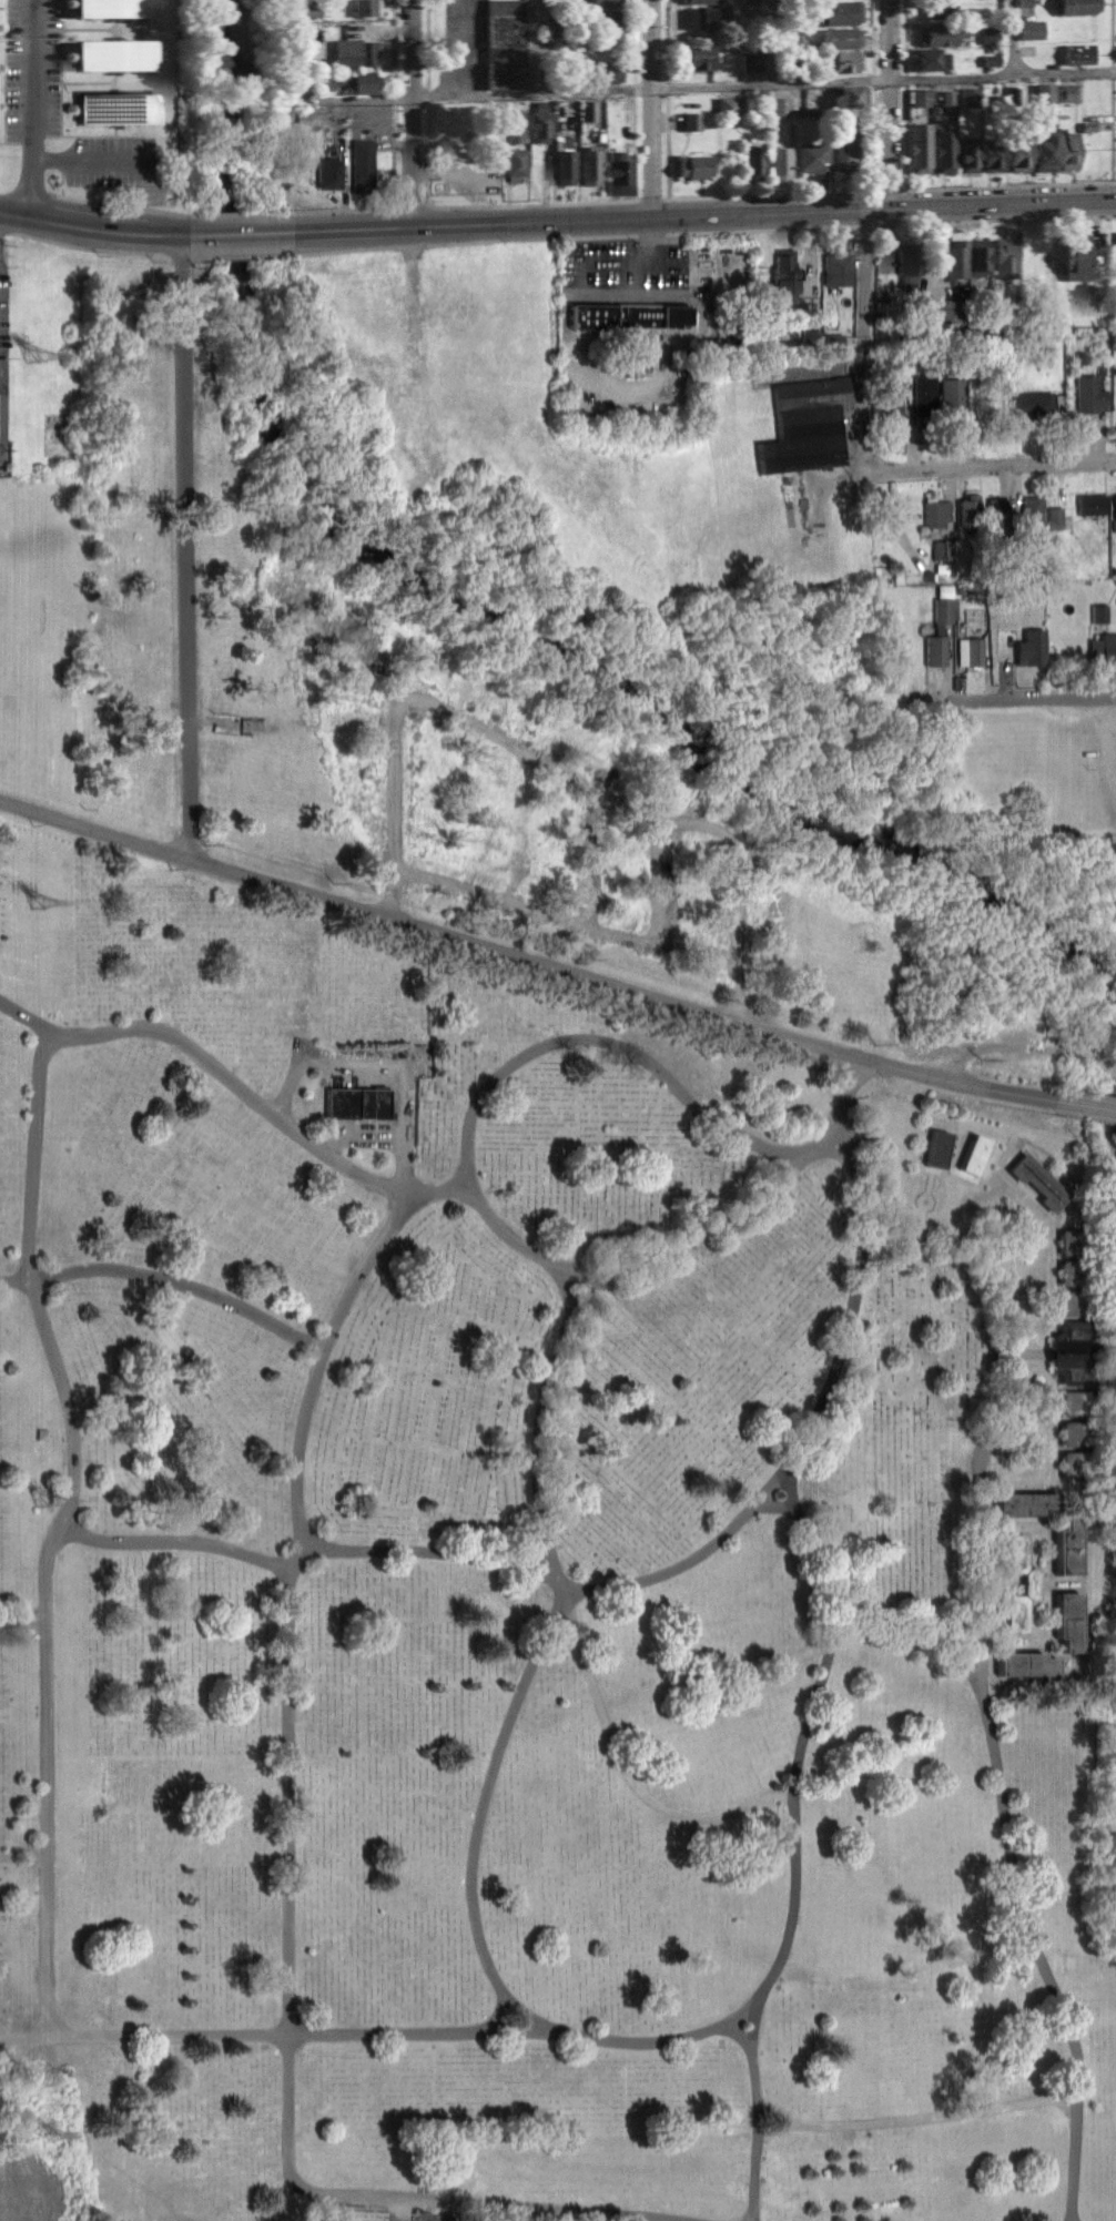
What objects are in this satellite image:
building: (700, 1)
building: (1024, 2)
building: (603, 3)
building: (1079, 6)
building: (114, 8)
building: (366, 8)
building: (939, 8)
building: (840, 13)
building: (703, 19)
building: (610, 20)
building: (1032, 29)
road: (1110, 31)
building: (991, 32)
building: (942, 33)
road: (903, 36)
road: (871, 37)
building: (840, 38)
road: (1013, 38)
road: (632, 40)
road: (664, 40)
road: (772, 42)
parking lot: (464, 43)
road: (425, 44)
building: (505, 44)
road: (392, 45)
road: (532, 47)
building: (356, 52)
building: (1079, 52)
building: (114, 55)
building: (697, 58)
building: (929, 59)
building: (843, 61)
building: (751, 62)
road: (1110, 71)
building: (601, 73)
road: (903, 79)
road: (871, 80)
building: (361, 82)
road: (664, 87)
road: (632, 88)
road: (660, 89)
building: (1046, 91)
building: (1069, 92)
road: (426, 97)
building: (921, 97)
building: (944, 97)
building: (849, 98)
road: (393, 99)
building: (728, 105)
building: (782, 105)
road: (651, 108)
building: (114, 109)
road: (35, 110)
building: (589, 110)
road: (409, 112)
building: (314, 119)
building: (693, 120)
building: (540, 123)
building: (919, 148)
building: (944, 152)
building: (1044, 152)
building: (1068, 152)
building: (845, 155)
building: (967, 155)
building: (992, 155)
building: (1018, 155)
building: (812, 159)
building: (753, 163)
building: (780, 163)
building: (515, 164)
building: (590, 165)
building: (362, 166)
building: (565, 166)
building: (693, 168)
building: (328, 173)
building: (618, 174)
road: (1114, 181)
road: (1005, 185)
road: (768, 194)
road: (649, 200)
road: (531, 201)
road: (111, 202)
road: (392, 205)
road: (237, 212)
road: (703, 214)
road: (996, 219)
road: (864, 227)
road: (92, 229)
road: (240, 233)
building: (1076, 256)
building: (977, 257)
building: (956, 260)
building: (1005, 260)
building: (907, 264)
building: (838, 270)
road: (631, 274)
building: (784, 274)
parking lot: (635, 287)
road: (653, 297)
building: (953, 310)
building: (626, 315)
building: (813, 337)
building: (924, 395)
building: (954, 395)
building: (1089, 395)
road: (183, 398)
building: (892, 398)
building: (1031, 404)
road: (1, 416)
building: (805, 425)
road: (990, 459)
building: (1090, 504)
building: (1115, 506)
building: (1032, 508)
building: (970, 511)
building: (998, 511)
building: (936, 513)
building: (1056, 517)
building: (944, 548)
building: (1098, 612)
building: (940, 630)
building: (1032, 647)
building: (1103, 649)
building: (970, 651)
road: (1029, 697)
road: (191, 711)
road: (1109, 738)
parking lot: (1102, 757)
road: (526, 957)
road: (27, 1015)
road: (174, 1034)
road: (625, 1048)
road: (385, 1069)
road: (844, 1096)
building: (358, 1102)
road: (1086, 1105)
building: (939, 1148)
building: (973, 1154)
road: (35, 1156)
road: (339, 1159)
building: (1038, 1182)
road: (856, 1189)
road: (439, 1191)
road: (683, 1236)
building: (1075, 1240)
road: (363, 1267)
building: (1074, 1271)
road: (14, 1279)
road: (182, 1282)
road: (590, 1287)
building: (1075, 1302)
building: (1074, 1352)
road: (839, 1358)
road: (555, 1368)
road: (1006, 1401)
building: (1075, 1402)
road: (69, 1404)
building: (1076, 1433)
road: (301, 1443)
park: (520, 1449)
building: (1076, 1462)
building: (1024, 1502)
road: (774, 1504)
road: (175, 1541)
road: (814, 1543)
building: (1067, 1545)
road: (438, 1551)
road: (297, 1558)
road: (692, 1558)
road: (45, 1573)
building: (1034, 1584)
road: (21, 1617)
building: (1067, 1620)
road: (914, 1630)
building: (1025, 1663)
road: (811, 1706)
road: (626, 1768)
road: (290, 1803)
flagpole: (780, 1816)
road: (480, 1819)
road: (48, 1825)
road: (1016, 1893)
road: (790, 1920)
road: (498, 2012)
road: (424, 2030)
road: (738, 2030)
road: (171, 2034)
road: (26, 2035)
road: (640, 2040)
road: (758, 2107)
road: (916, 2117)
road: (773, 2130)
road: (1075, 2158)
road: (416, 2194)

